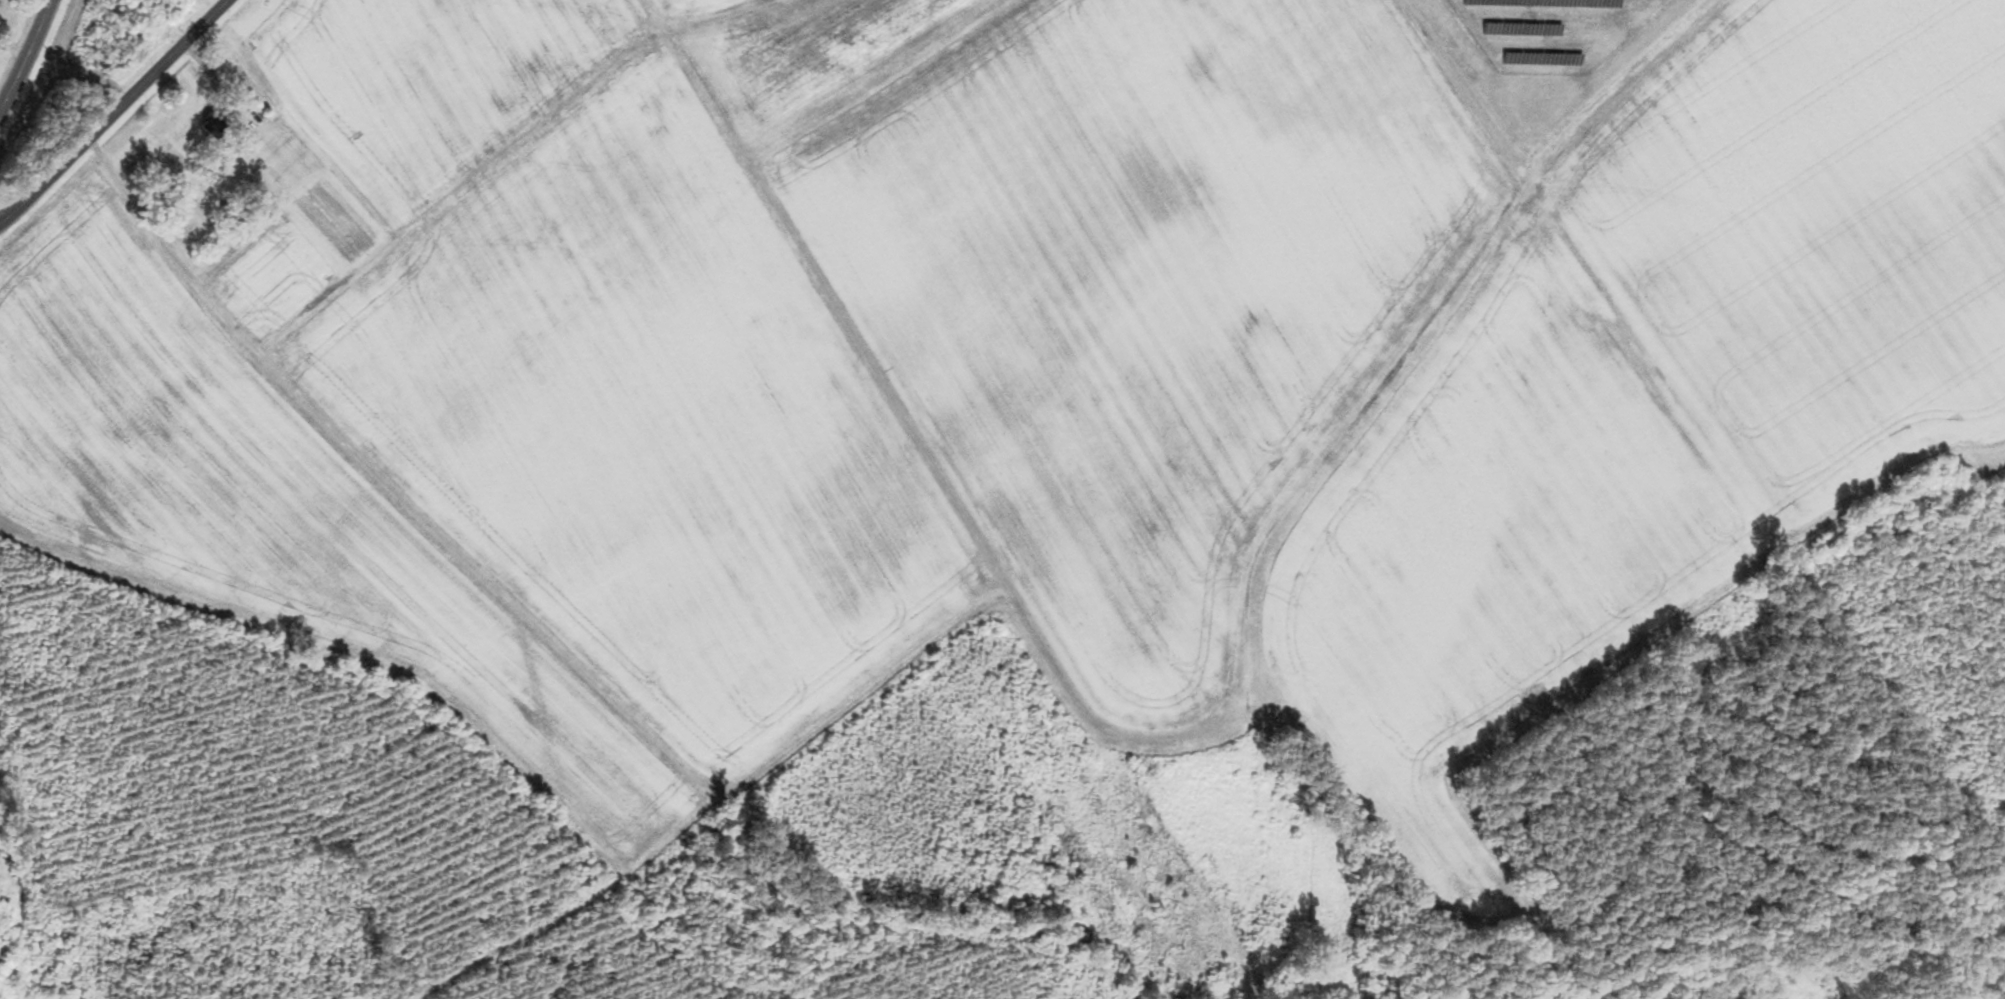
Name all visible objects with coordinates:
road: (27, 58)
road: (113, 110)
building: (212, 127)

